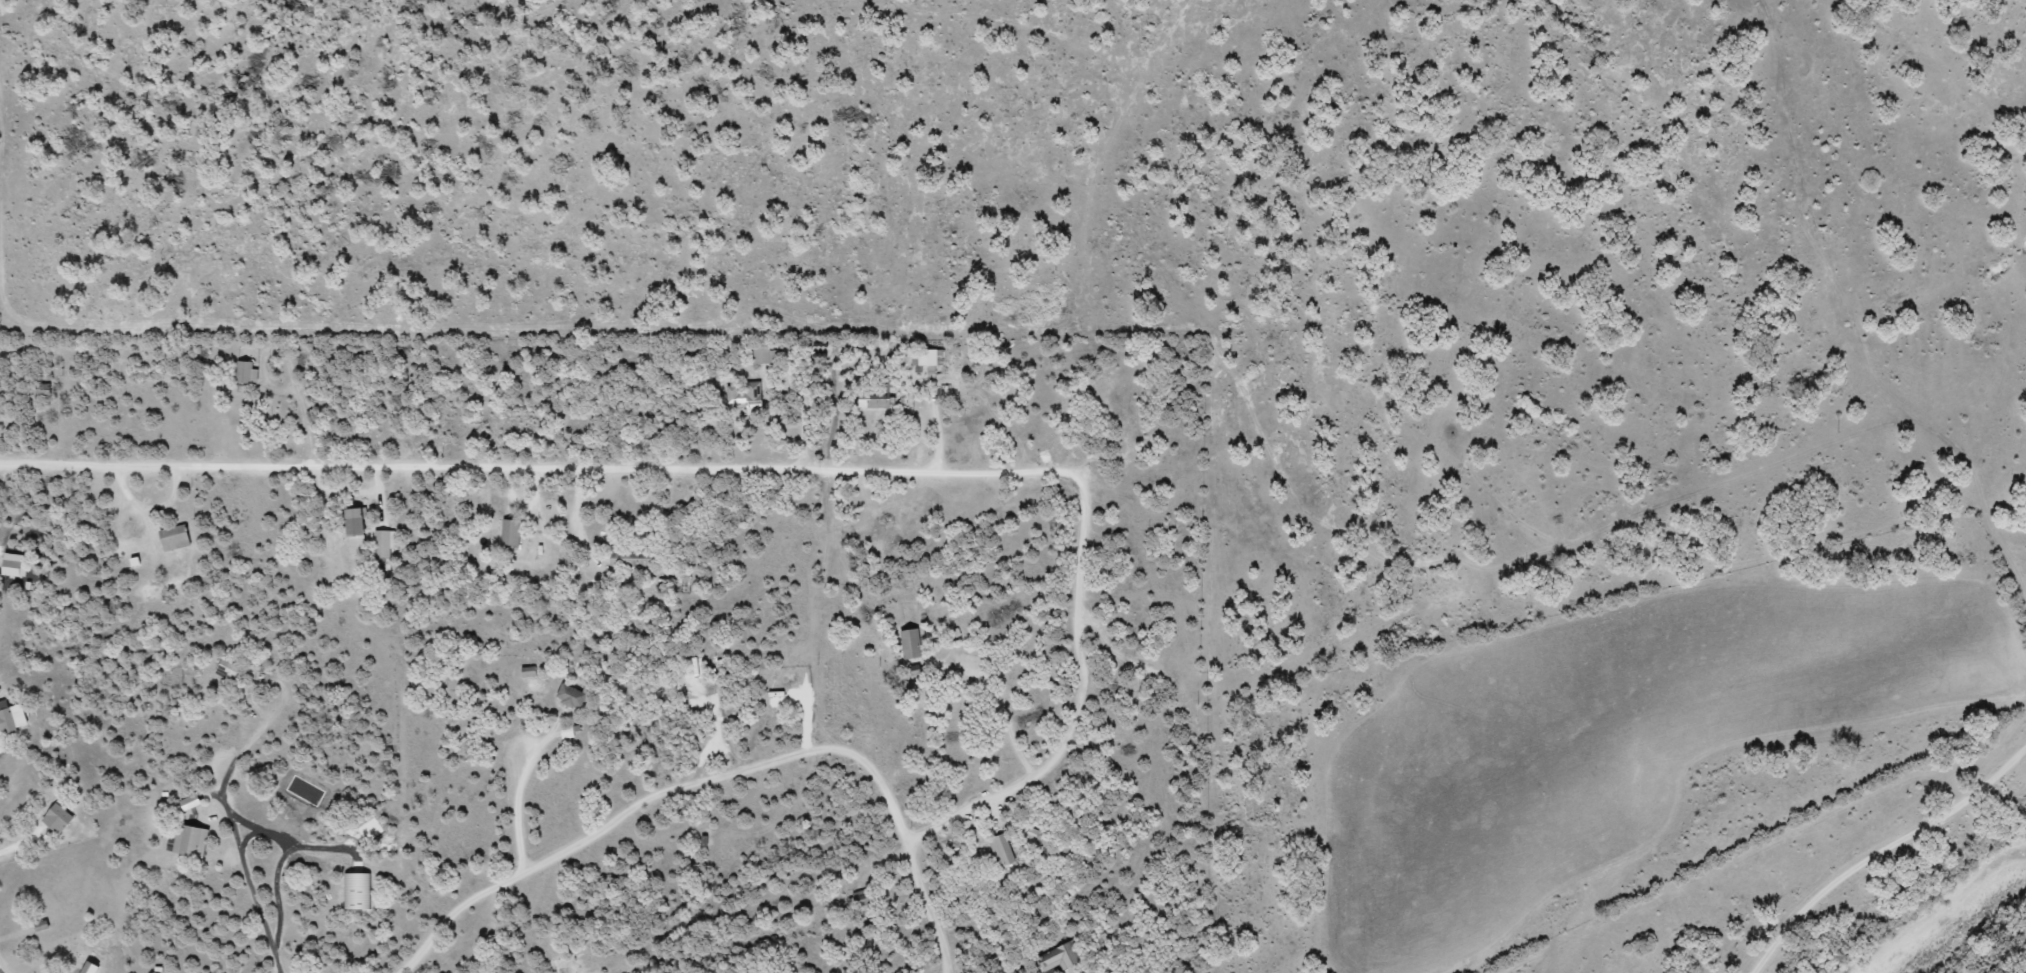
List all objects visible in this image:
building: (763, 356)
building: (927, 360)
building: (246, 371)
building: (40, 389)
building: (745, 398)
building: (875, 398)
road: (738, 481)
building: (356, 524)
building: (511, 531)
building: (175, 537)
building: (384, 548)
building: (631, 556)
building: (11, 564)
building: (912, 642)
building: (229, 667)
building: (572, 696)
road: (743, 778)
building: (191, 801)
road: (1941, 811)
building: (60, 816)
building: (192, 841)
building: (1002, 850)
road: (1804, 921)
road: (895, 926)
road: (482, 938)
building: (1060, 957)

